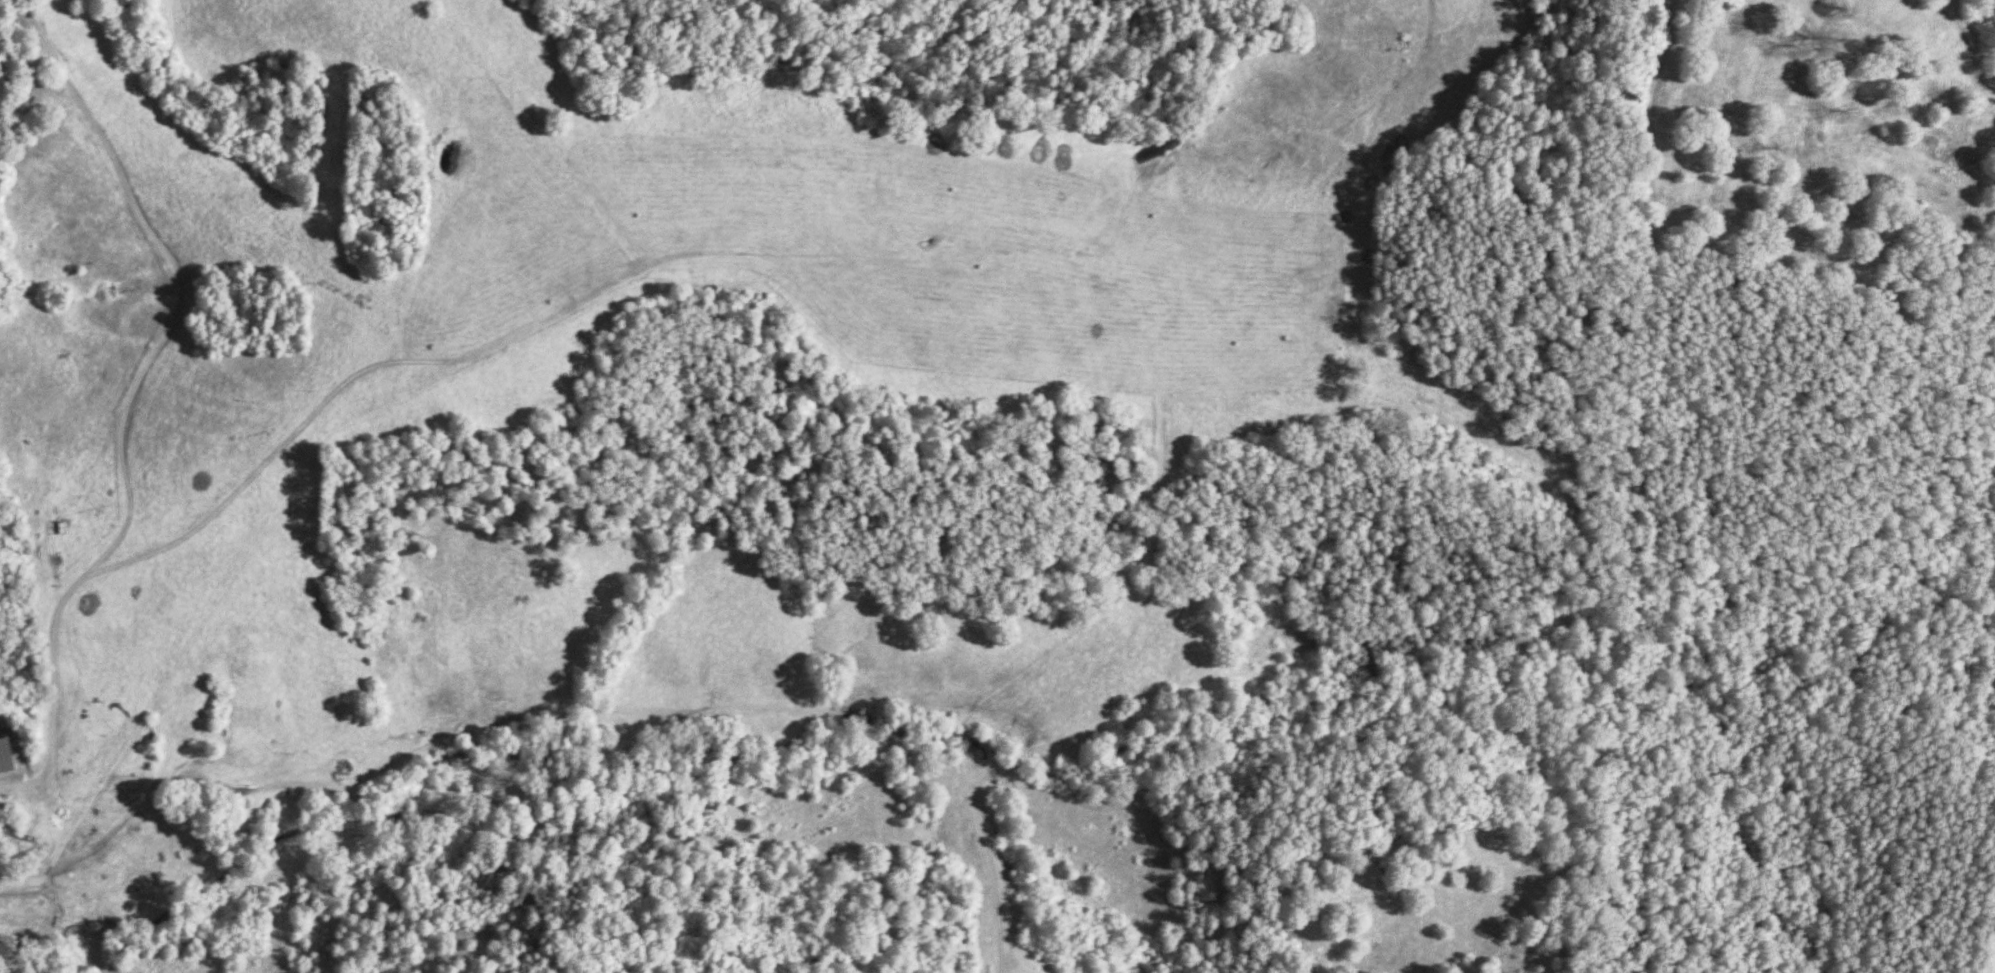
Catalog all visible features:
road: (130, 399)

